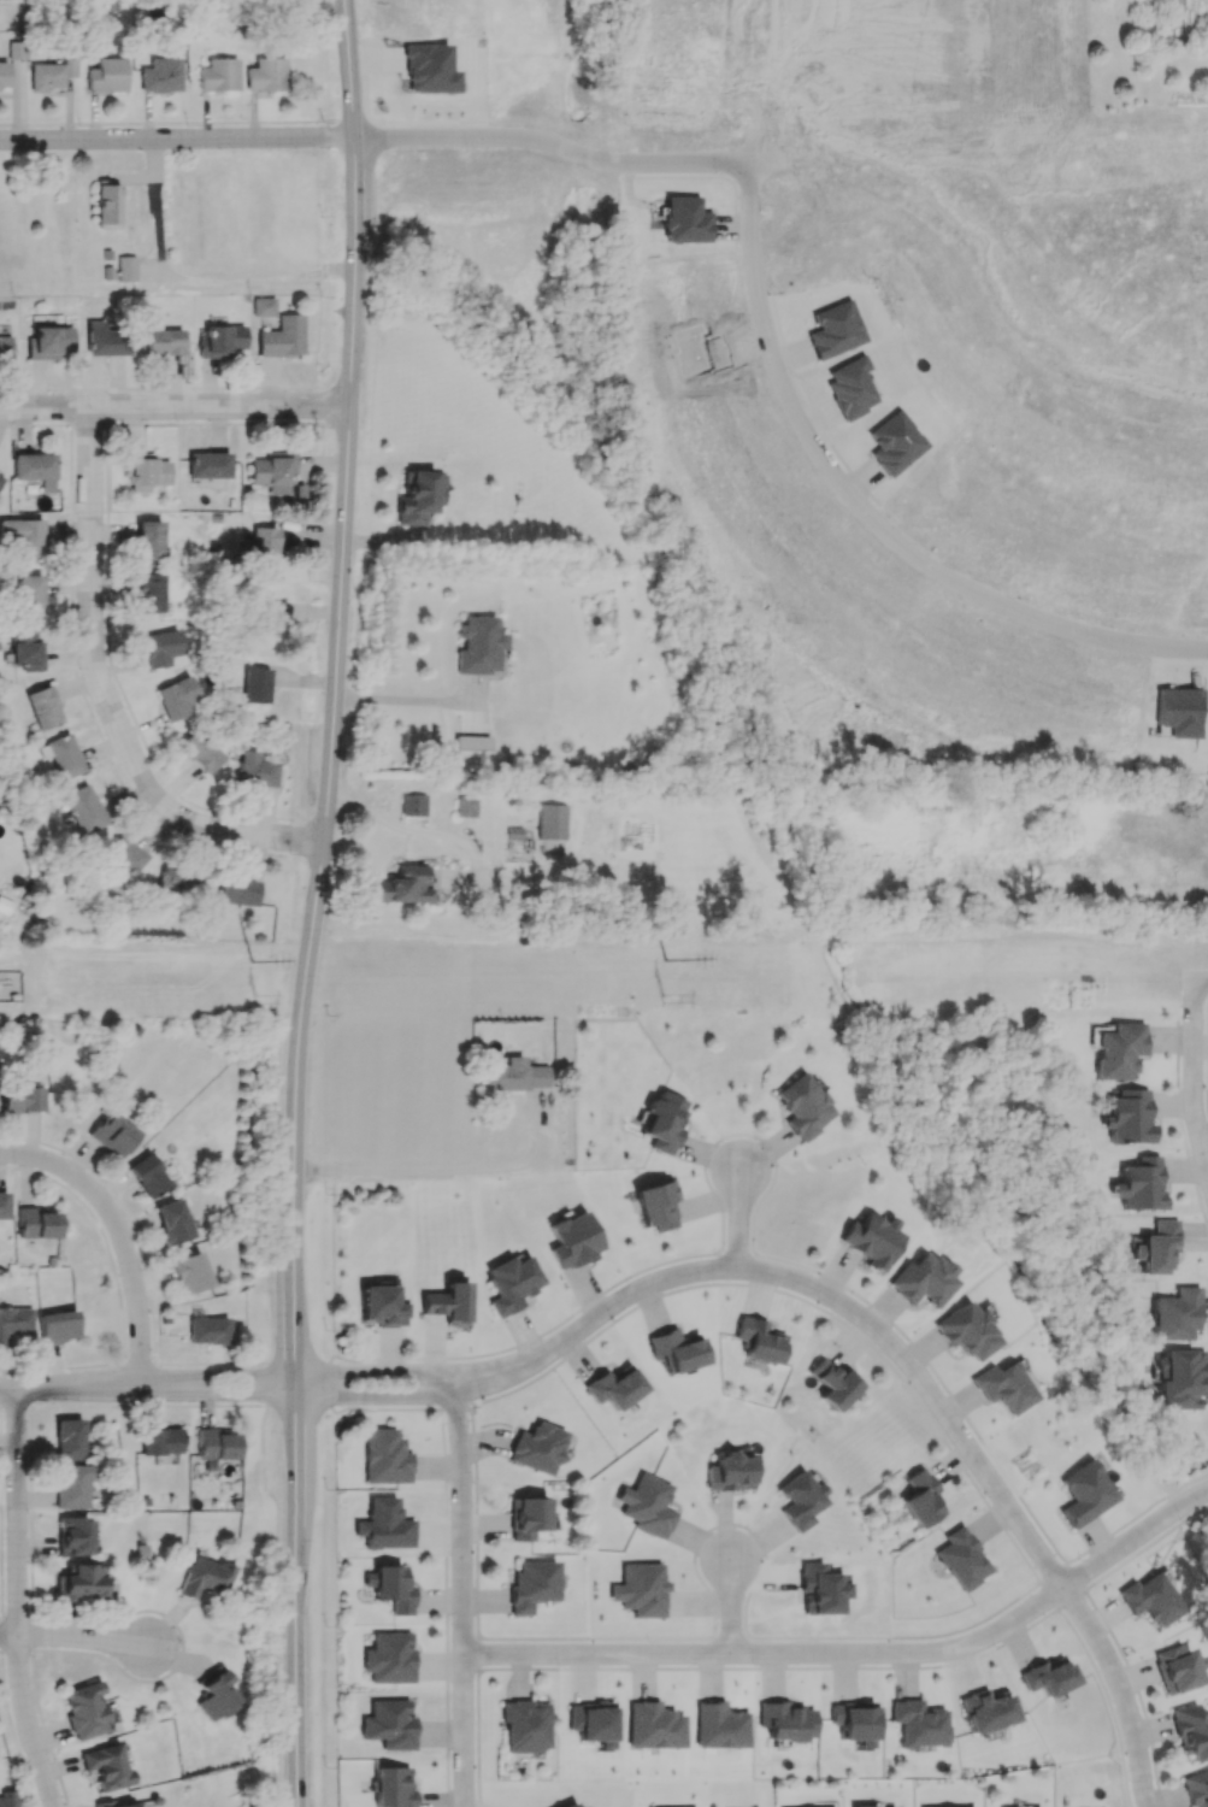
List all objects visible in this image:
building: (18, 49)
building: (4, 73)
building: (107, 75)
building: (161, 75)
building: (219, 75)
building: (266, 75)
building: (46, 76)
road: (765, 80)
road: (177, 141)
road: (556, 143)
building: (107, 205)
road: (991, 245)
building: (126, 267)
road: (264, 282)
building: (263, 306)
building: (836, 329)
building: (283, 337)
building: (105, 340)
building: (220, 340)
building: (51, 341)
building: (164, 342)
building: (5, 348)
building: (852, 387)
road: (788, 389)
road: (176, 411)
building: (895, 442)
building: (208, 464)
building: (35, 469)
building: (146, 471)
building: (272, 472)
building: (418, 496)
building: (23, 536)
building: (148, 540)
building: (264, 546)
building: (149, 591)
building: (29, 593)
road: (1066, 625)
building: (478, 644)
building: (160, 647)
building: (26, 648)
building: (255, 684)
road: (111, 698)
building: (172, 699)
building: (42, 707)
building: (472, 748)
building: (199, 752)
building: (63, 755)
building: (255, 769)
building: (413, 805)
building: (466, 806)
building: (84, 808)
building: (552, 822)
road: (454, 835)
building: (128, 854)
building: (179, 885)
building: (403, 885)
building: (236, 893)
road: (317, 902)
road: (449, 941)
power tower: (666, 967)
power tower: (252, 970)
road: (1201, 976)
power tower: (259, 1001)
power tower: (668, 1001)
building: (1119, 1049)
building: (515, 1075)
road: (1192, 1076)
building: (22, 1099)
building: (803, 1106)
building: (1129, 1117)
building: (664, 1122)
building: (112, 1134)
road: (453, 1170)
building: (147, 1175)
building: (1142, 1183)
building: (4, 1205)
building: (655, 1206)
road: (737, 1219)
building: (172, 1222)
building: (36, 1223)
road: (120, 1235)
building: (572, 1240)
building: (871, 1240)
building: (1157, 1246)
building: (190, 1272)
building: (923, 1279)
building: (511, 1283)
building: (447, 1303)
building: (381, 1306)
building: (1175, 1314)
building: (14, 1323)
building: (57, 1325)
building: (207, 1330)
building: (967, 1331)
building: (759, 1341)
building: (677, 1349)
road: (906, 1360)
road: (375, 1372)
building: (1180, 1379)
building: (833, 1384)
road: (149, 1385)
building: (614, 1387)
building: (1003, 1387)
road: (375, 1397)
building: (69, 1440)
building: (160, 1440)
building: (217, 1444)
building: (537, 1447)
building: (384, 1456)
building: (730, 1472)
building: (72, 1485)
building: (1085, 1493)
building: (921, 1499)
building: (799, 1500)
building: (647, 1505)
building: (525, 1517)
building: (384, 1525)
building: (72, 1536)
road: (1102, 1537)
building: (962, 1559)
building: (205, 1578)
building: (79, 1583)
building: (531, 1584)
building: (391, 1587)
building: (641, 1589)
road: (461, 1595)
building: (1150, 1599)
road: (18, 1602)
road: (729, 1606)
road: (76, 1641)
road: (856, 1653)
building: (389, 1658)
building: (1177, 1668)
building: (1049, 1676)
building: (213, 1694)
building: (84, 1711)
building: (985, 1711)
building: (785, 1720)
building: (591, 1721)
building: (854, 1721)
building: (919, 1723)
building: (389, 1724)
building: (525, 1725)
building: (653, 1725)
building: (718, 1725)
building: (1190, 1731)
building: (107, 1766)
building: (393, 1787)
building: (1196, 1788)
building: (7, 1799)
building: (111, 1803)
building: (568, 1805)
building: (862, 1806)

